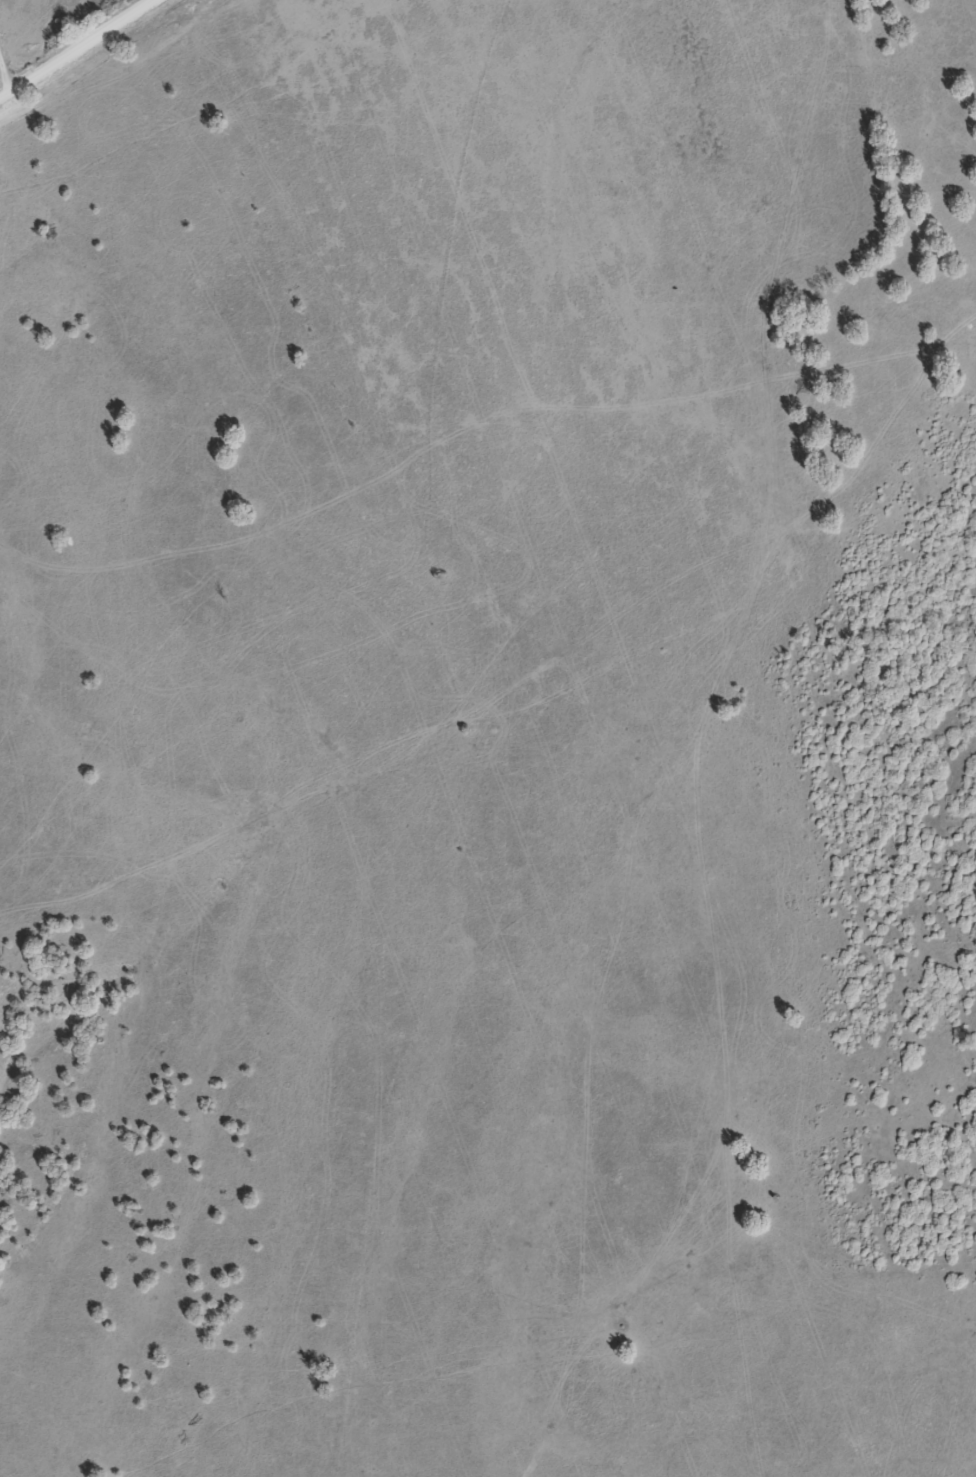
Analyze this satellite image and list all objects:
road: (71, 47)

